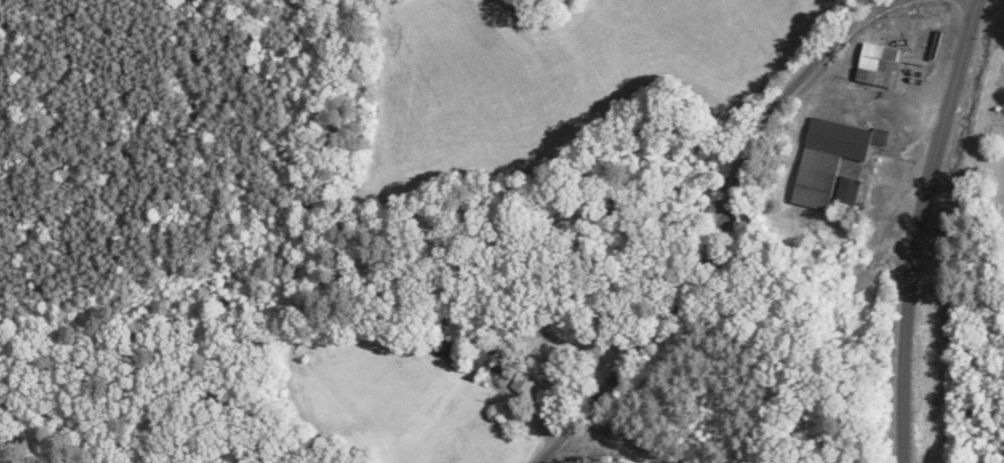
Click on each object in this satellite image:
building: (878, 66)
building: (828, 158)
road: (721, 224)
road: (916, 227)
building: (440, 344)
building: (529, 373)
road: (956, 420)

